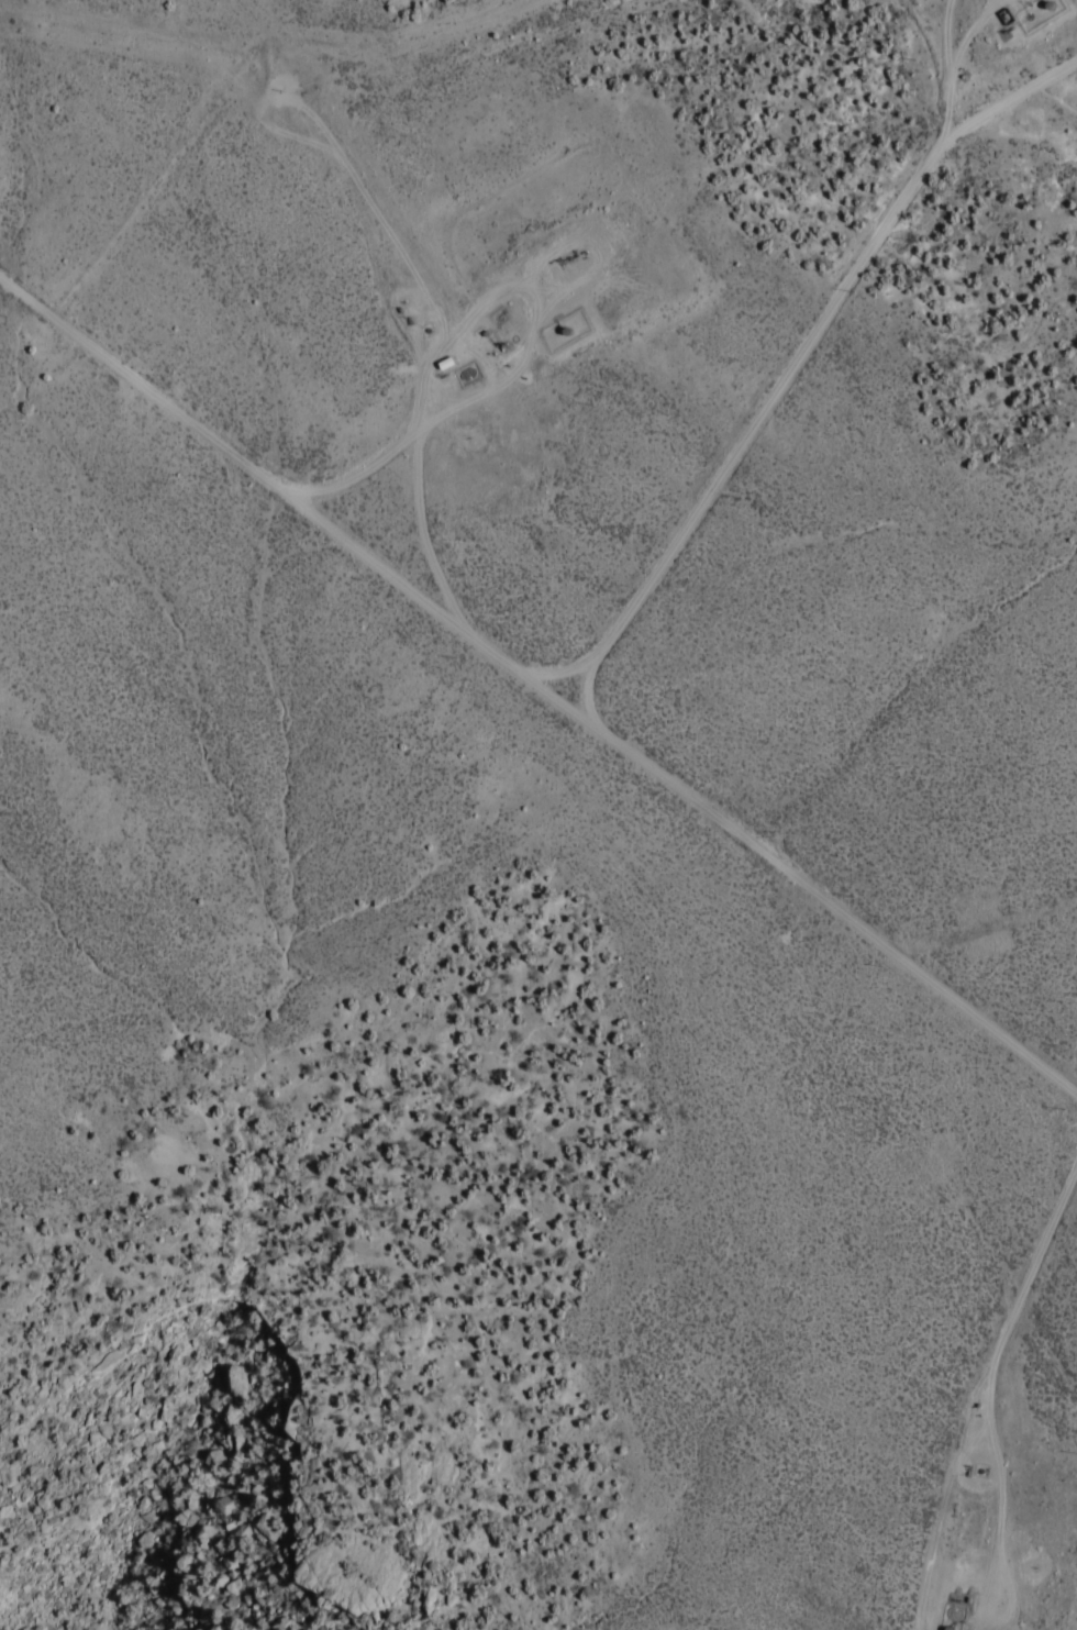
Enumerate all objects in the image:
road: (375, 182)
building: (566, 330)
road: (799, 333)
road: (555, 645)
road: (1012, 1297)

